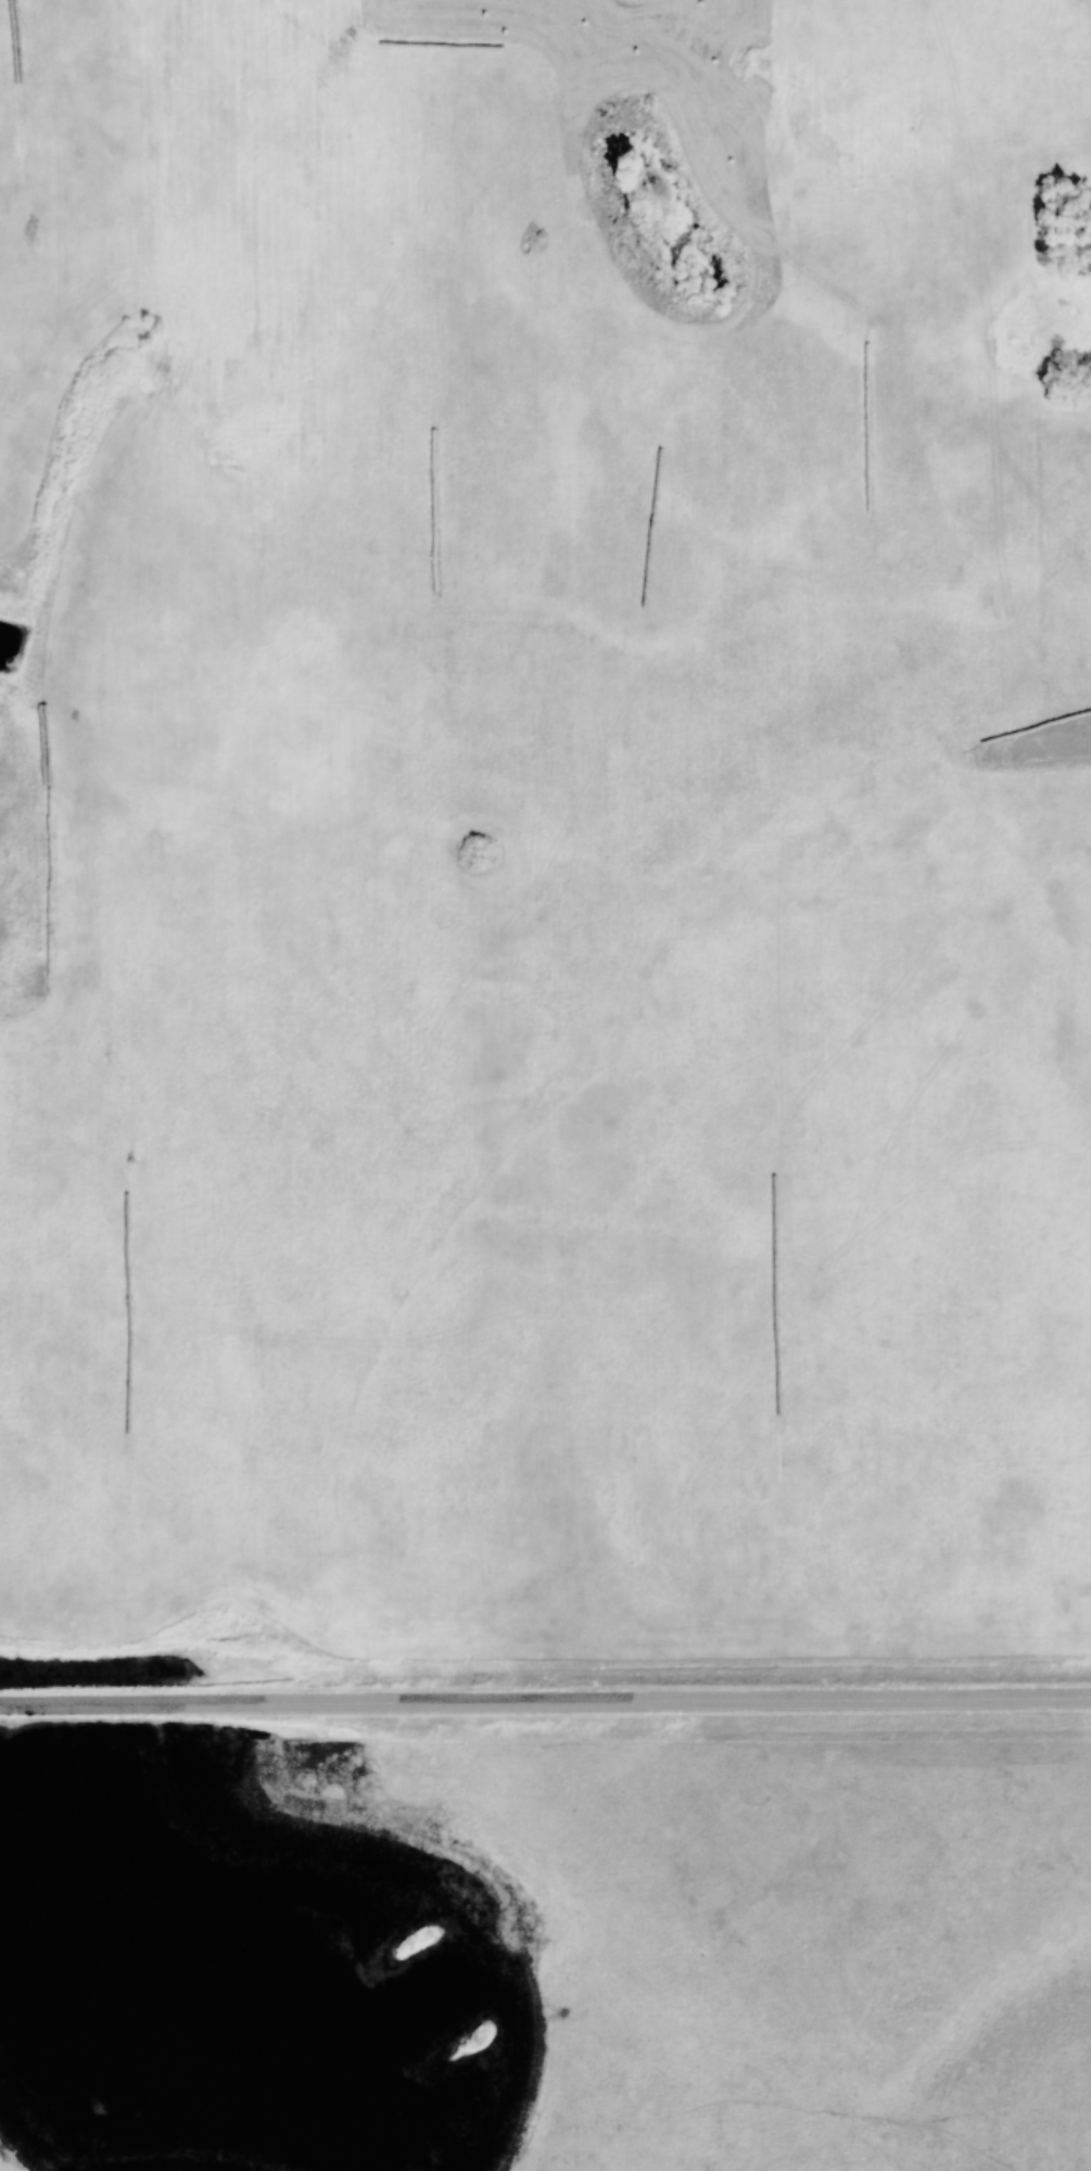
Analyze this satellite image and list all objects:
road: (545, 1699)

